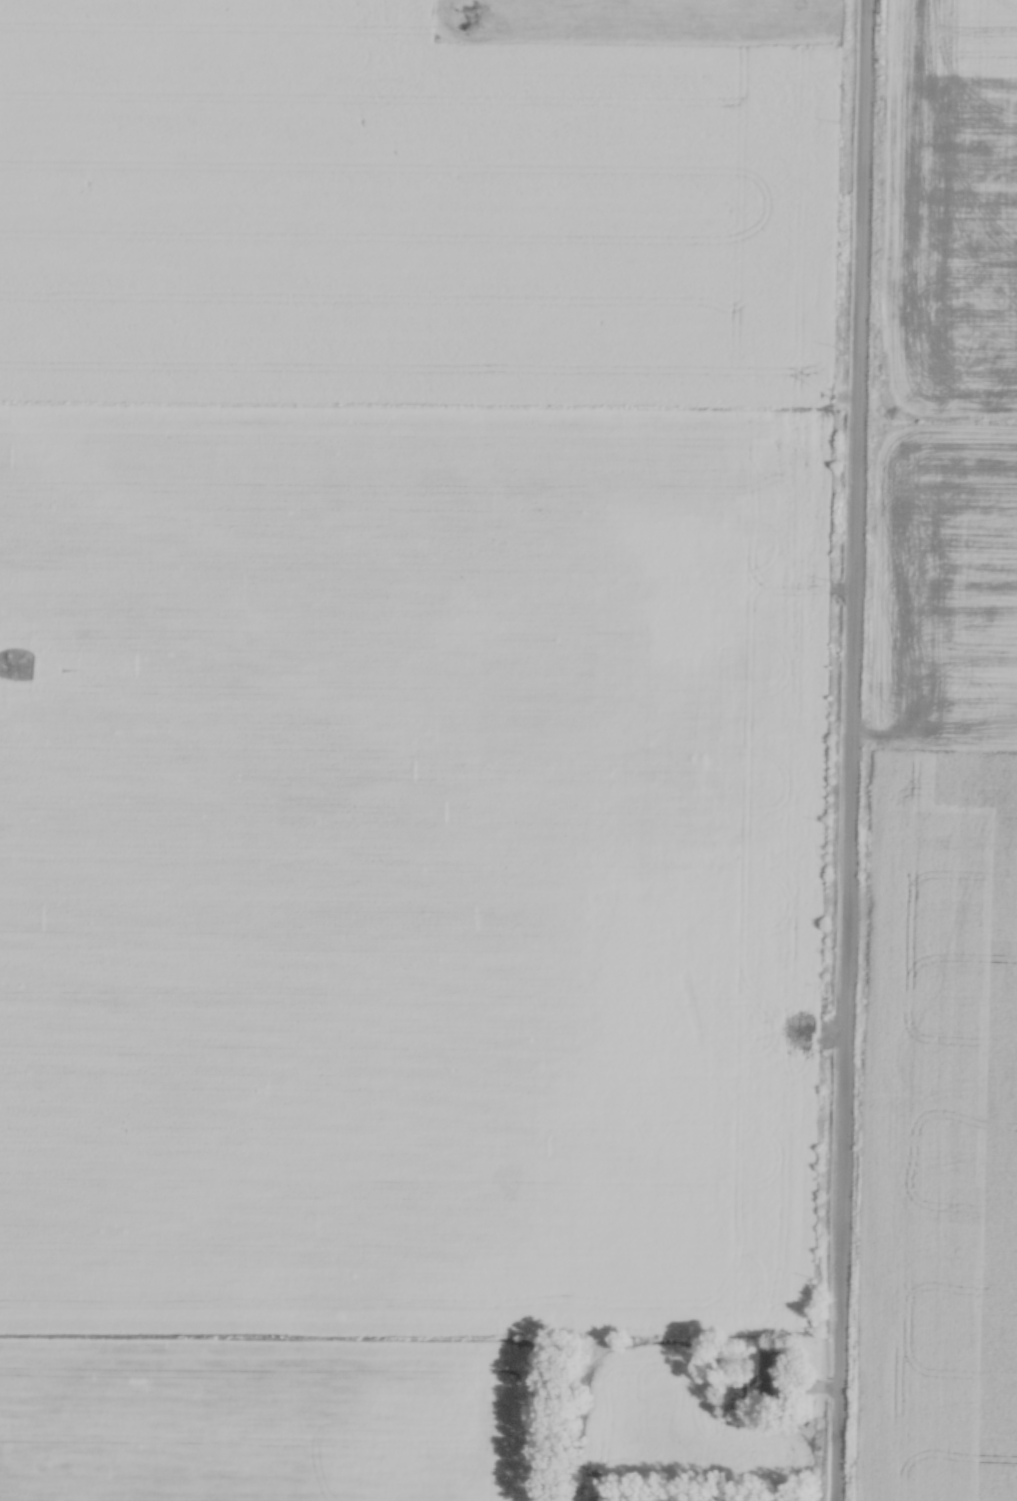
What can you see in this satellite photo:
road: (854, 750)
building: (770, 1365)
building: (612, 1496)

